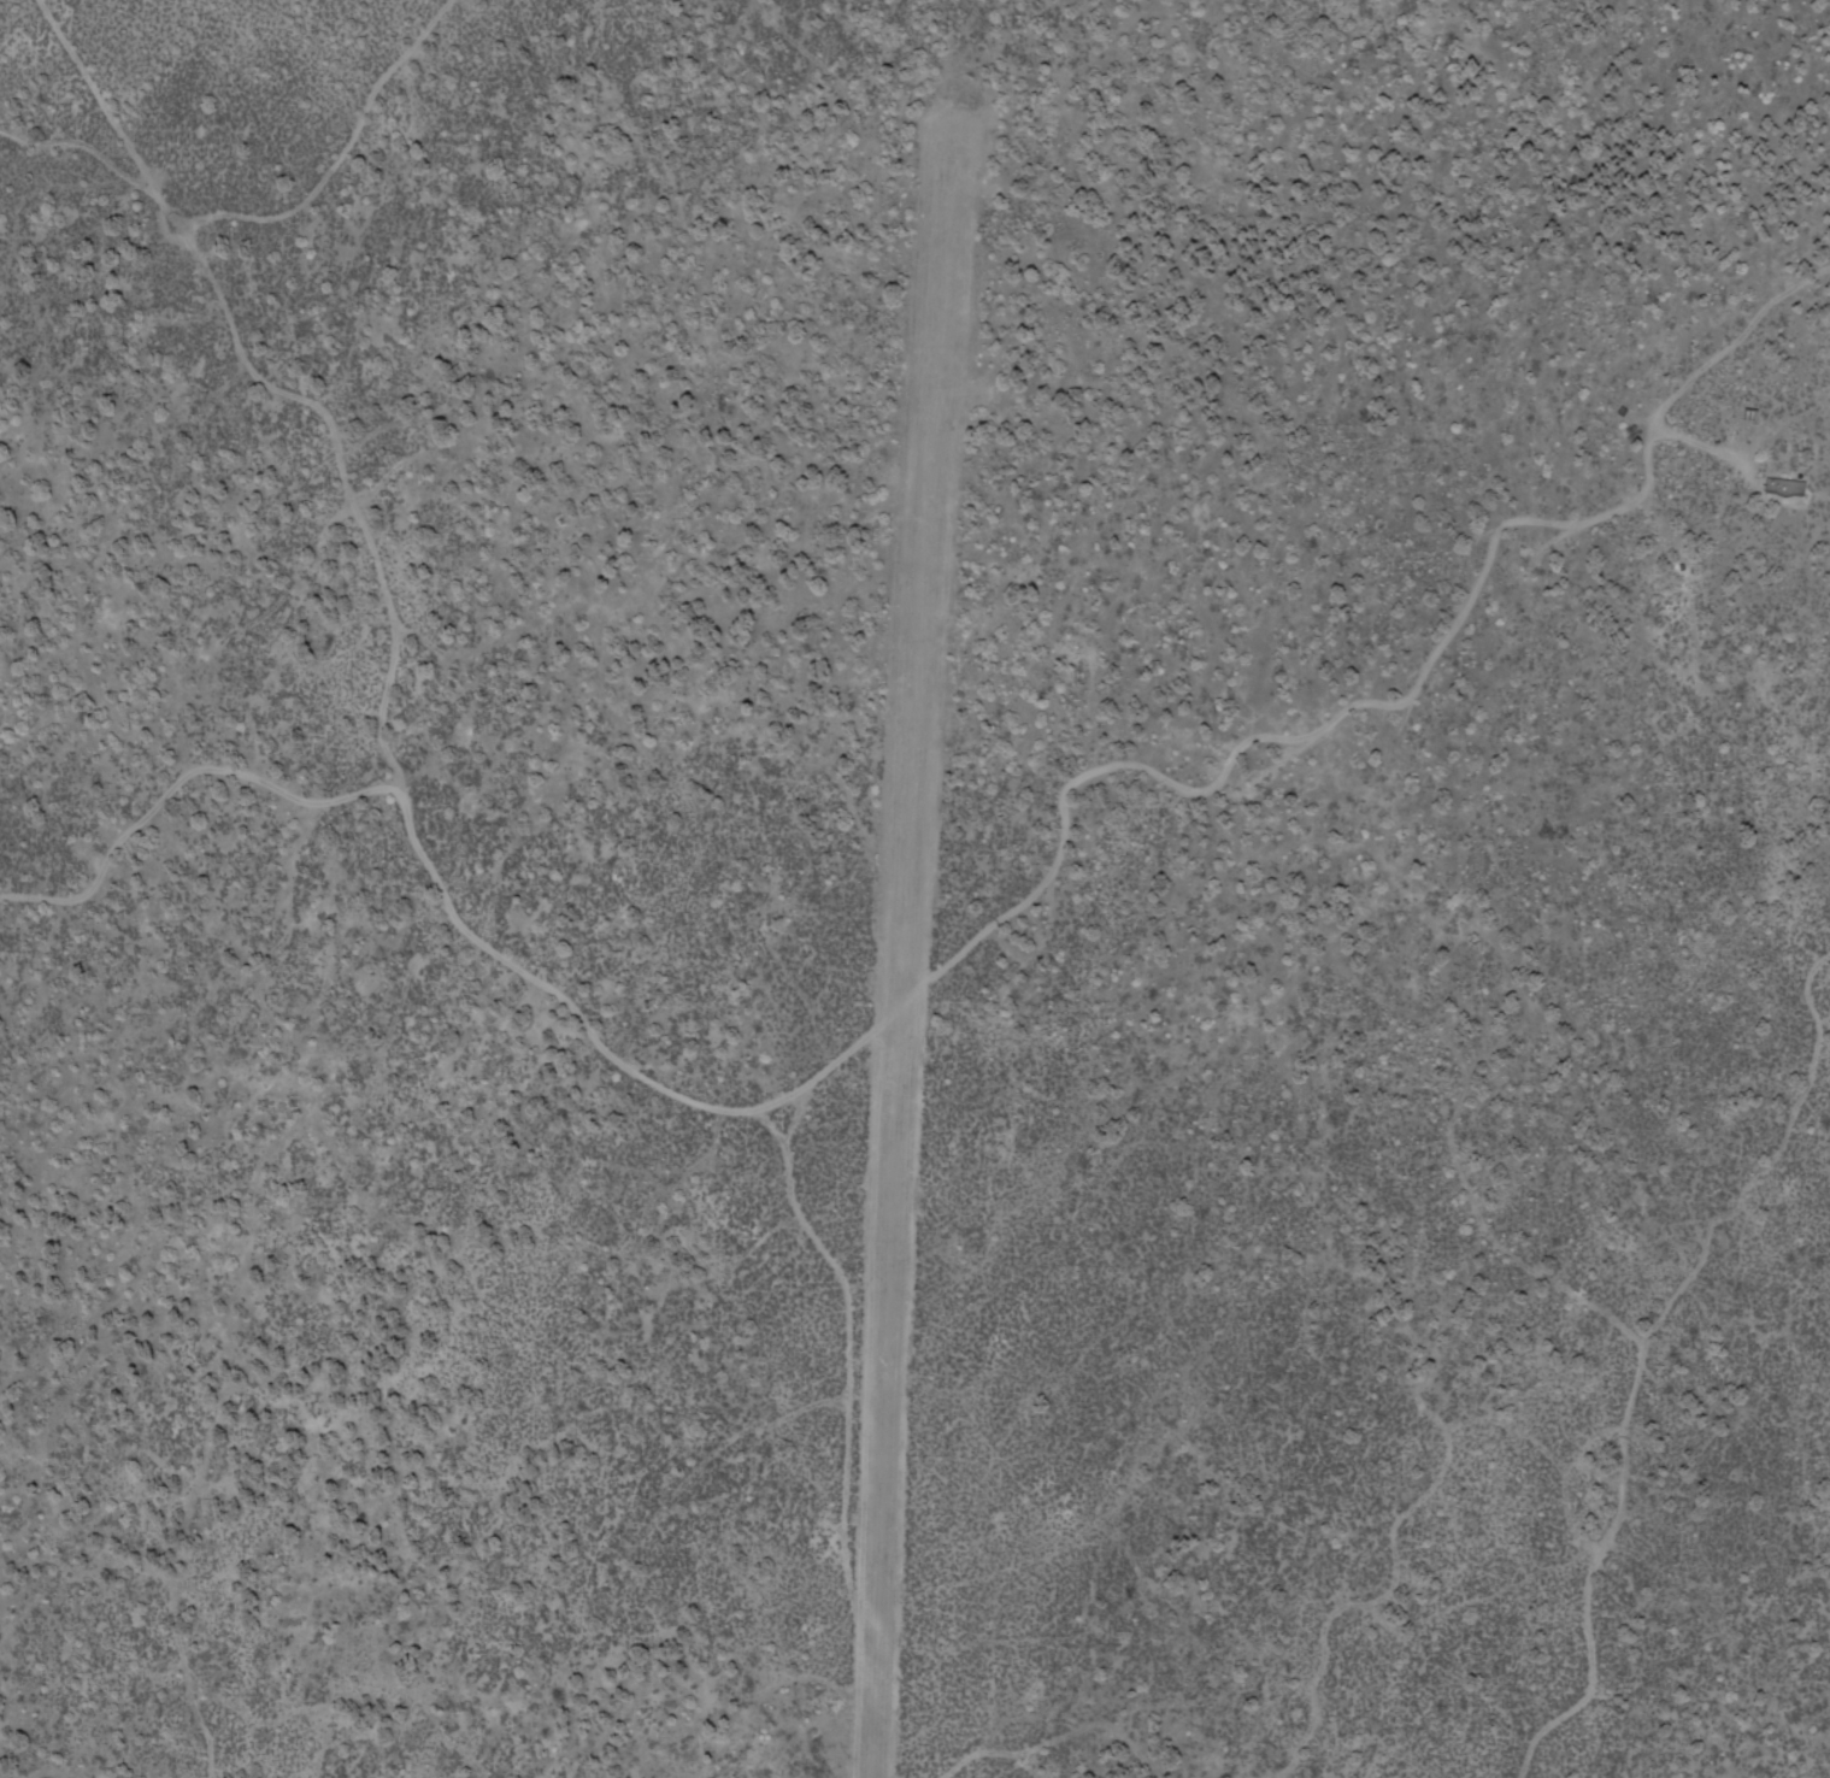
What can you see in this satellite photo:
road: (287, 175)
building: (1787, 487)
road: (508, 924)
airport runway: (908, 964)

